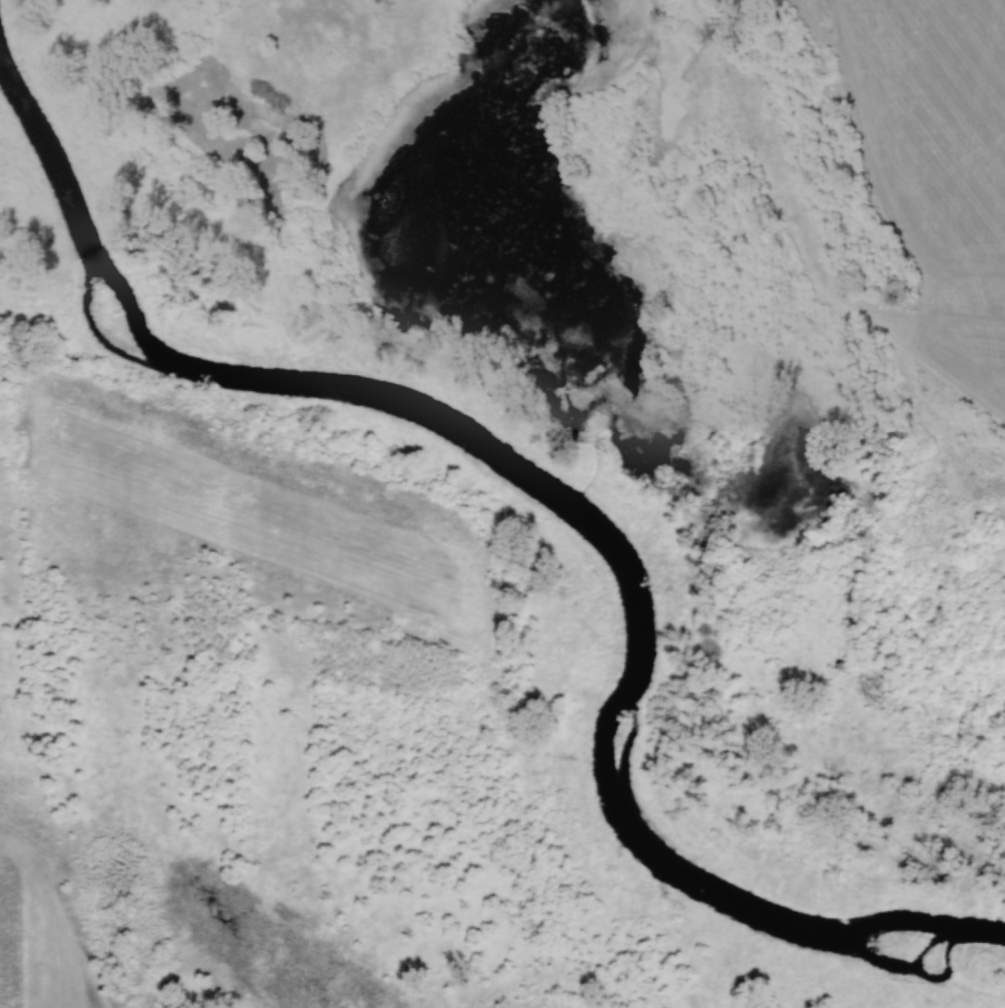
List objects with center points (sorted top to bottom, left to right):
river: (545, 495)

